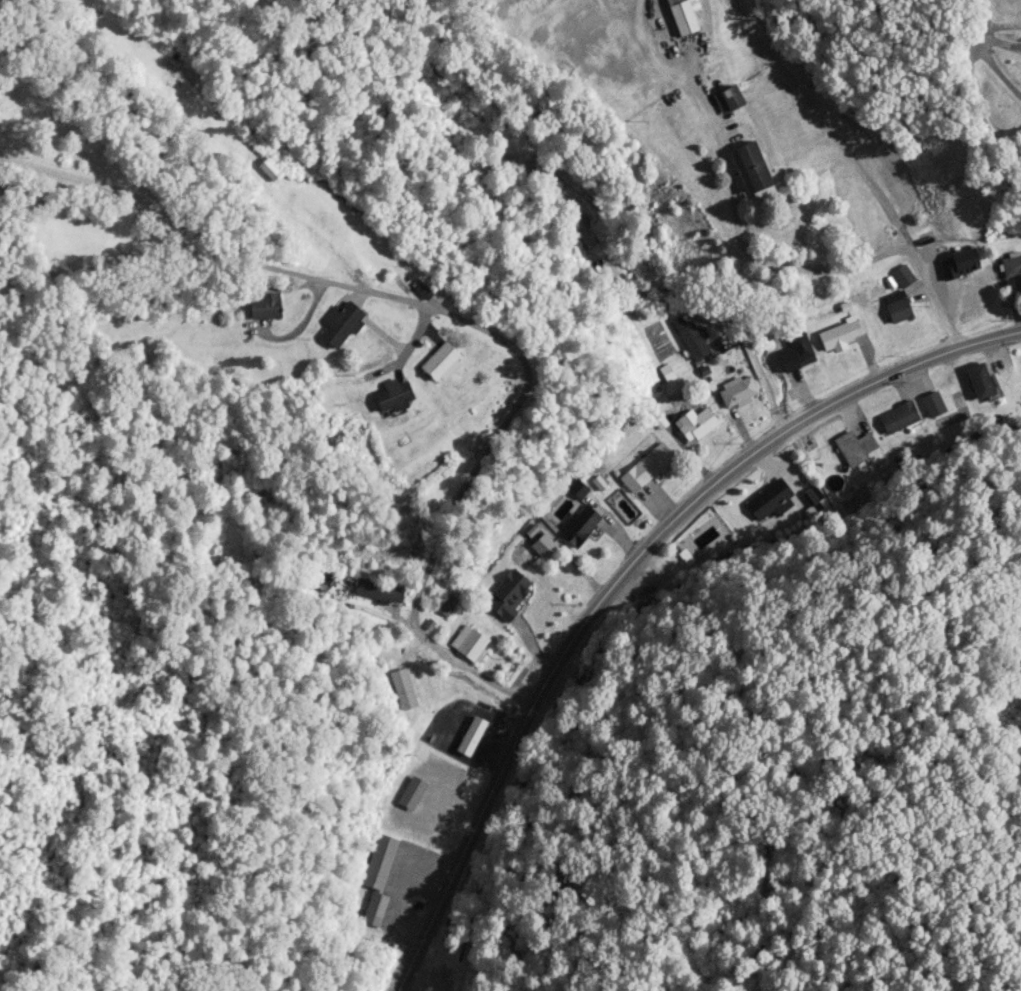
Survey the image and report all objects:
road: (982, 13)
building: (681, 17)
road: (1004, 26)
building: (726, 99)
road: (972, 101)
building: (750, 166)
building: (268, 171)
building: (580, 206)
road: (778, 267)
building: (1012, 268)
building: (958, 277)
building: (263, 306)
building: (896, 307)
road: (470, 324)
building: (339, 325)
road: (725, 328)
building: (841, 335)
building: (690, 338)
building: (798, 351)
building: (439, 362)
building: (979, 381)
building: (736, 391)
building: (392, 396)
building: (897, 418)
building: (695, 425)
building: (853, 448)
building: (650, 464)
building: (767, 499)
building: (579, 527)
building: (542, 546)
road: (620, 573)
building: (660, 574)
building: (321, 581)
building: (377, 591)
building: (508, 595)
building: (467, 644)
building: (402, 690)
building: (469, 736)
building: (376, 879)

